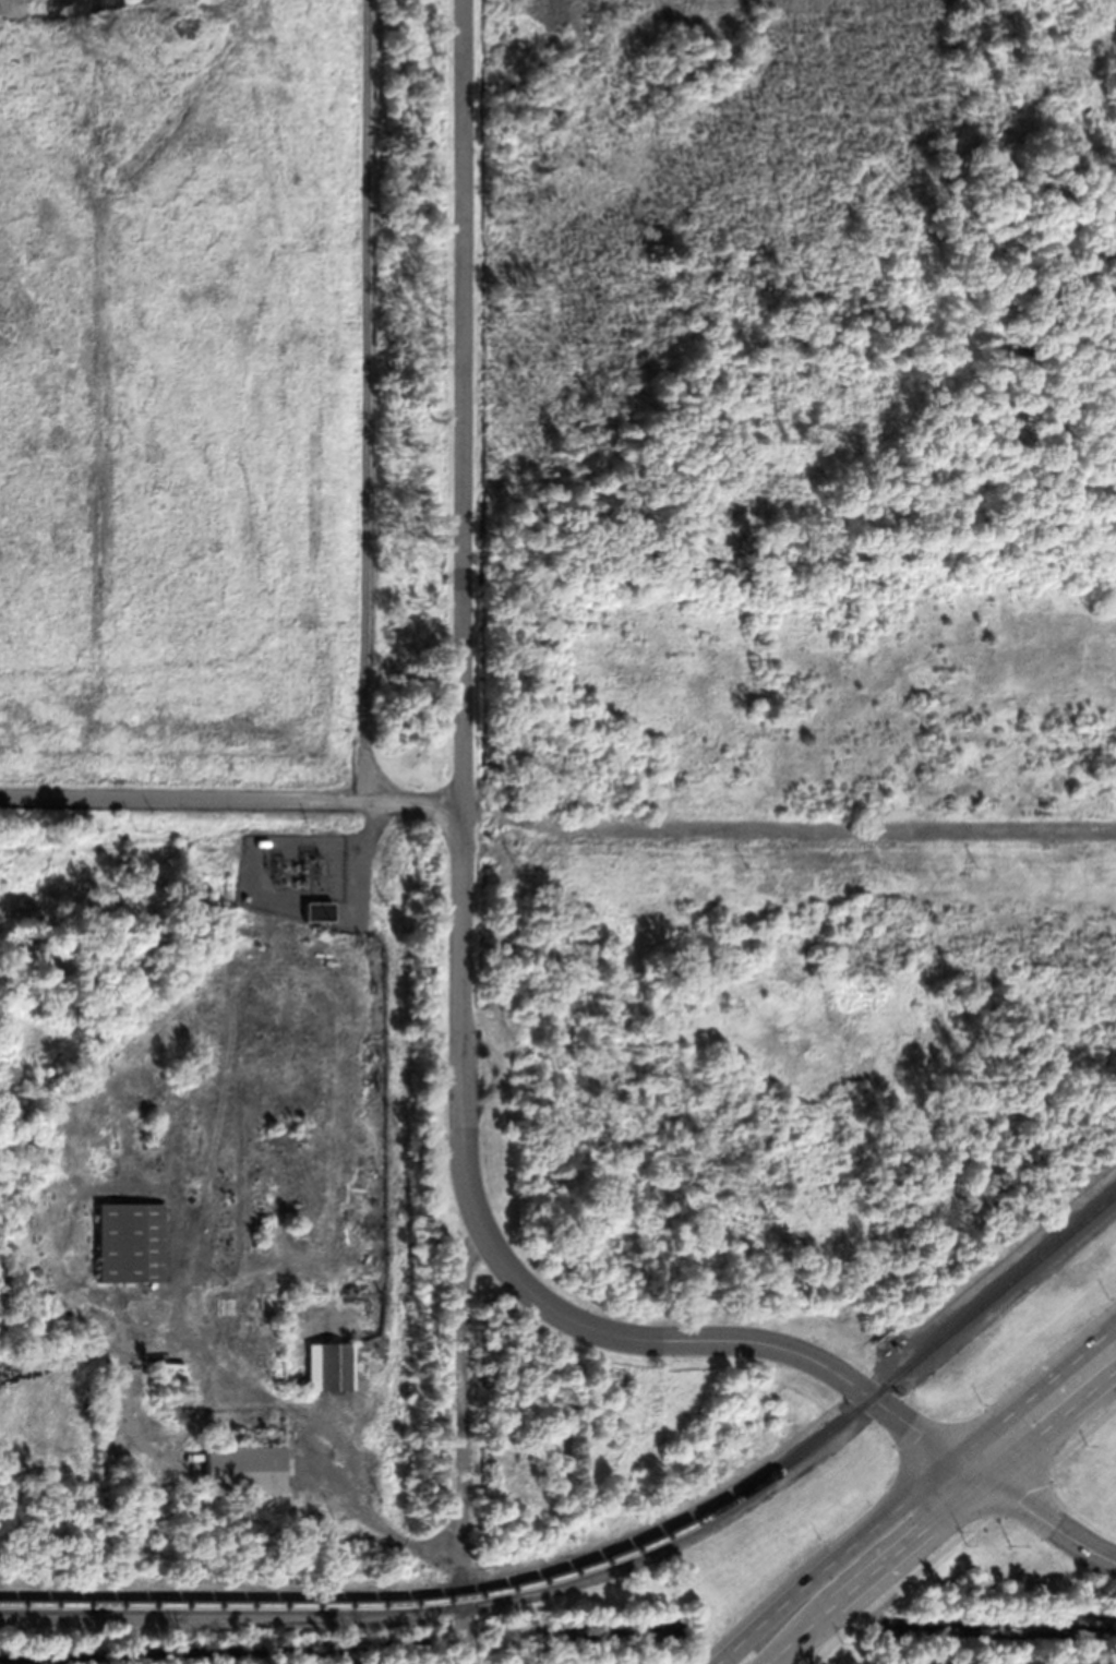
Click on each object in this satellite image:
road: (458, 403)
road: (255, 801)
building: (319, 909)
building: (130, 1241)
building: (352, 1289)
road: (528, 1295)
building: (329, 1365)
road: (460, 1446)
building: (242, 1463)
road: (914, 1491)
road: (939, 1515)
road: (1049, 1522)
road: (963, 1535)
road: (661, 1545)
railway: (614, 1553)
road: (205, 1617)

